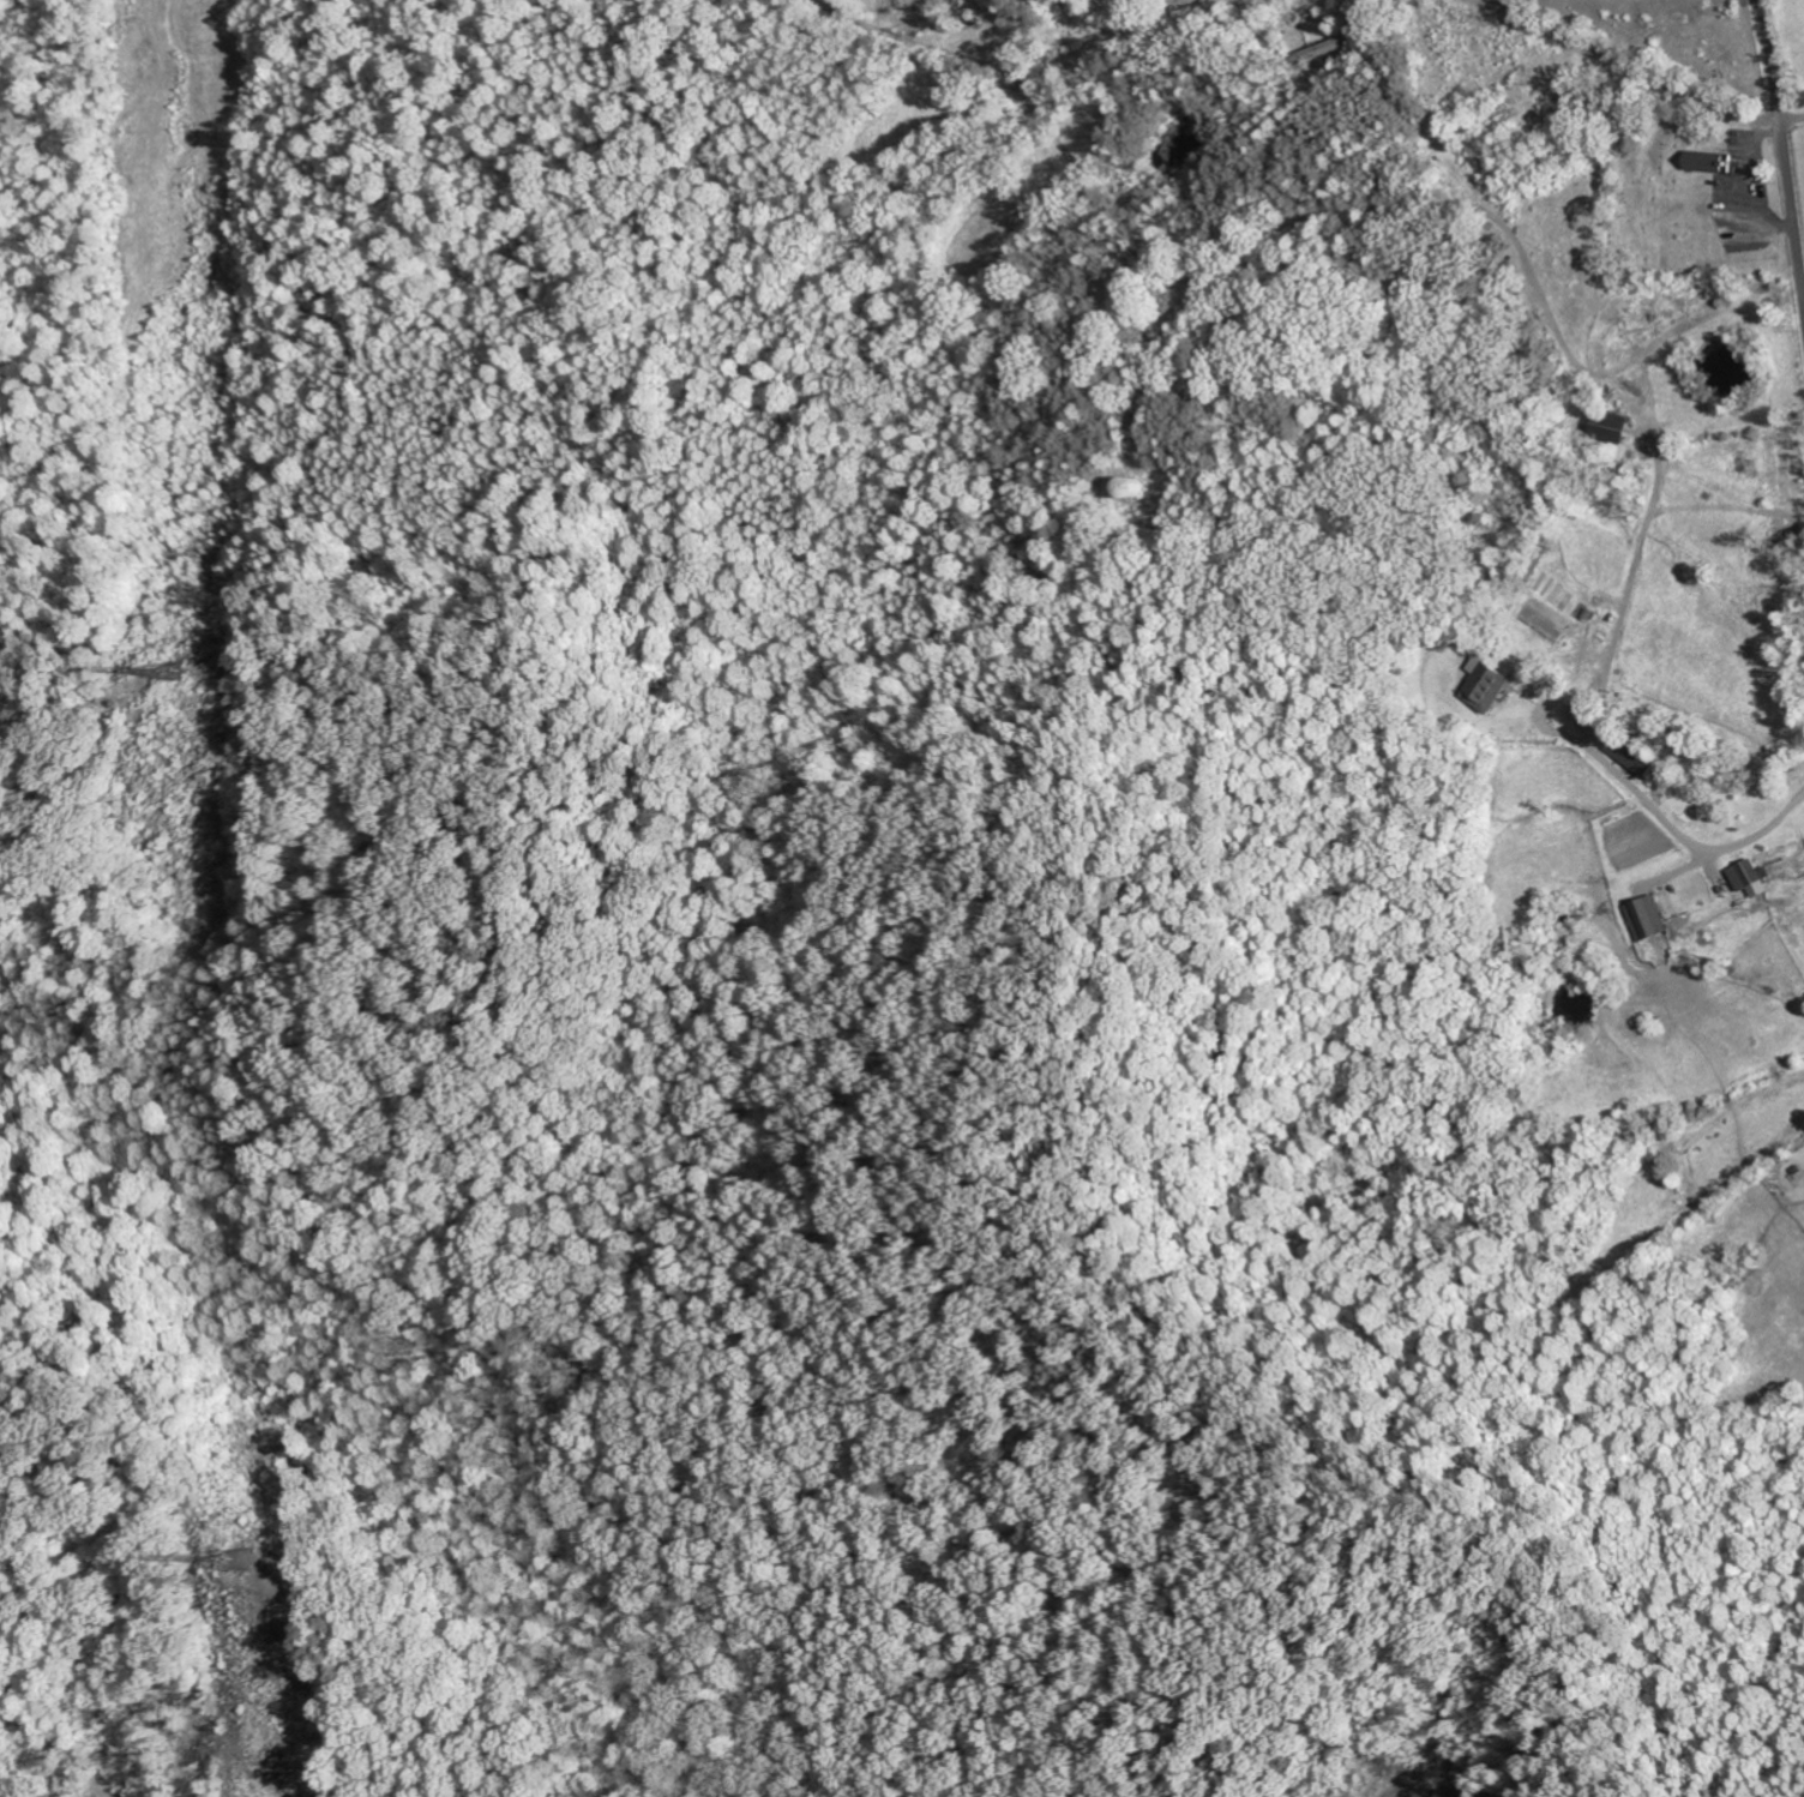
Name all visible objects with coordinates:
road: (1638, 61)
road: (1785, 148)
building: (1708, 162)
building: (1613, 426)
building: (1132, 488)
power tower: (151, 673)
building: (1489, 685)
building: (1632, 755)
building: (1749, 875)
building: (1648, 919)
power tower: (229, 1568)

